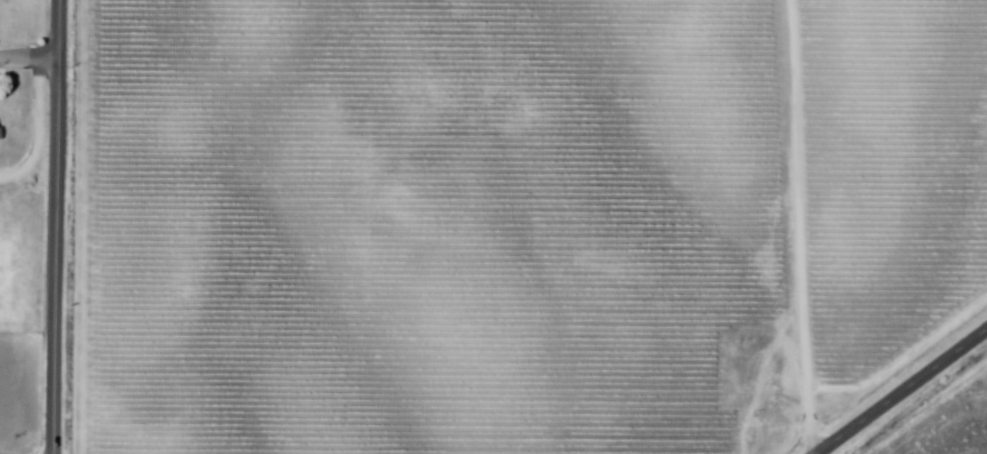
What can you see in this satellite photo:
road: (30, 59)
road: (38, 131)
building: (2, 134)
road: (802, 226)
road: (58, 227)
building: (764, 388)
road: (901, 391)

